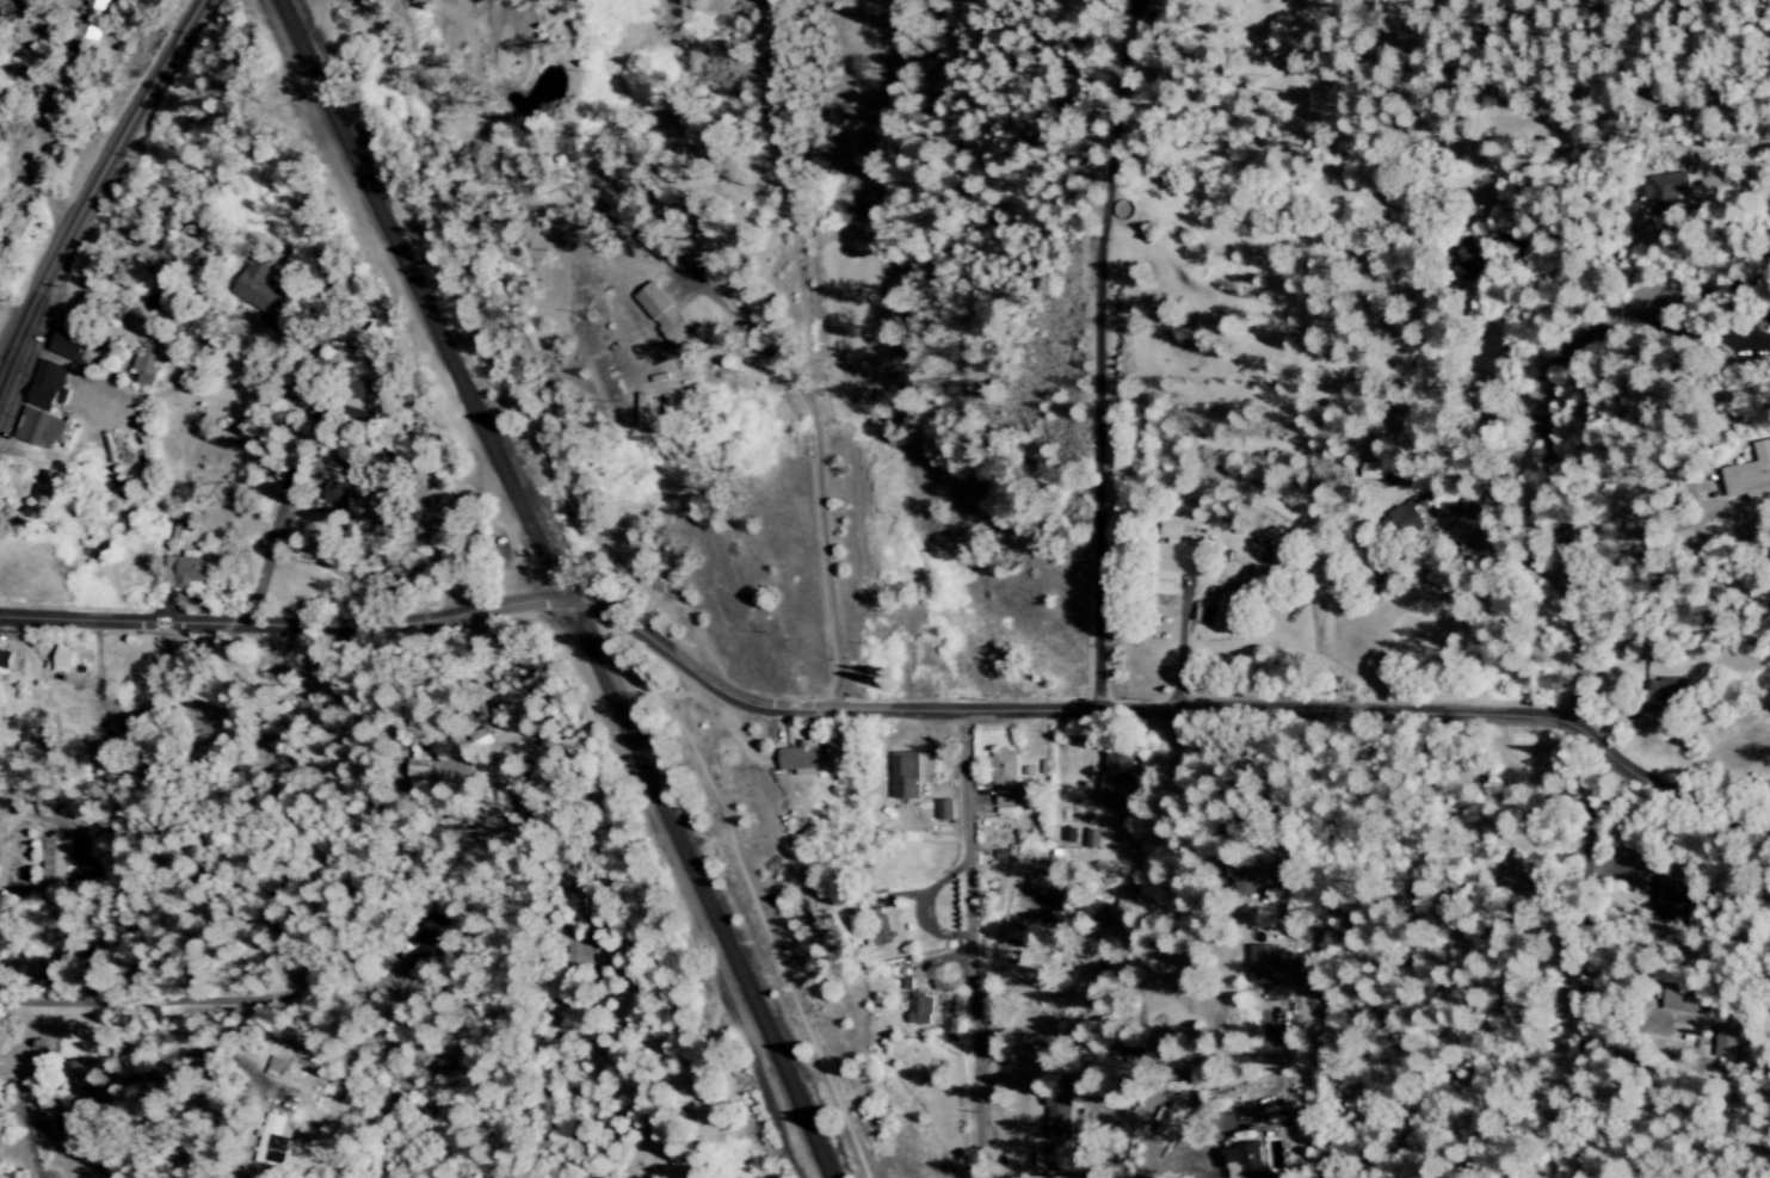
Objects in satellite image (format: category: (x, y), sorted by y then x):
building: (98, 5)
building: (5, 14)
building: (86, 36)
road: (130, 116)
road: (26, 132)
road: (1734, 168)
building: (1664, 193)
building: (652, 245)
building: (258, 284)
road: (1709, 286)
road: (31, 301)
building: (662, 313)
building: (68, 347)
road: (1096, 354)
building: (146, 365)
building: (44, 387)
building: (360, 391)
road: (127, 400)
building: (36, 428)
road: (816, 468)
building: (1752, 476)
building: (44, 486)
road: (1549, 489)
building: (337, 494)
building: (1401, 524)
road: (409, 544)
building: (1177, 551)
road: (260, 561)
building: (184, 571)
railway: (556, 588)
road: (1178, 652)
building: (62, 659)
building: (5, 660)
building: (1665, 695)
road: (887, 711)
building: (481, 739)
building: (800, 757)
building: (1118, 763)
building: (419, 771)
building: (905, 776)
building: (1006, 779)
building: (944, 809)
building: (54, 858)
building: (1253, 880)
road: (682, 886)
building: (1672, 901)
road: (913, 909)
building: (878, 927)
road: (967, 945)
building: (430, 954)
road: (1575, 954)
building: (578, 956)
building: (1268, 968)
road: (921, 977)
road: (1026, 997)
building: (1680, 999)
road: (175, 1004)
building: (921, 1010)
road: (1151, 1054)
road: (999, 1065)
building: (84, 1073)
road: (54, 1102)
building: (1056, 1114)
building: (1168, 1120)
building: (276, 1141)
road: (1166, 1161)
building: (1244, 1161)

